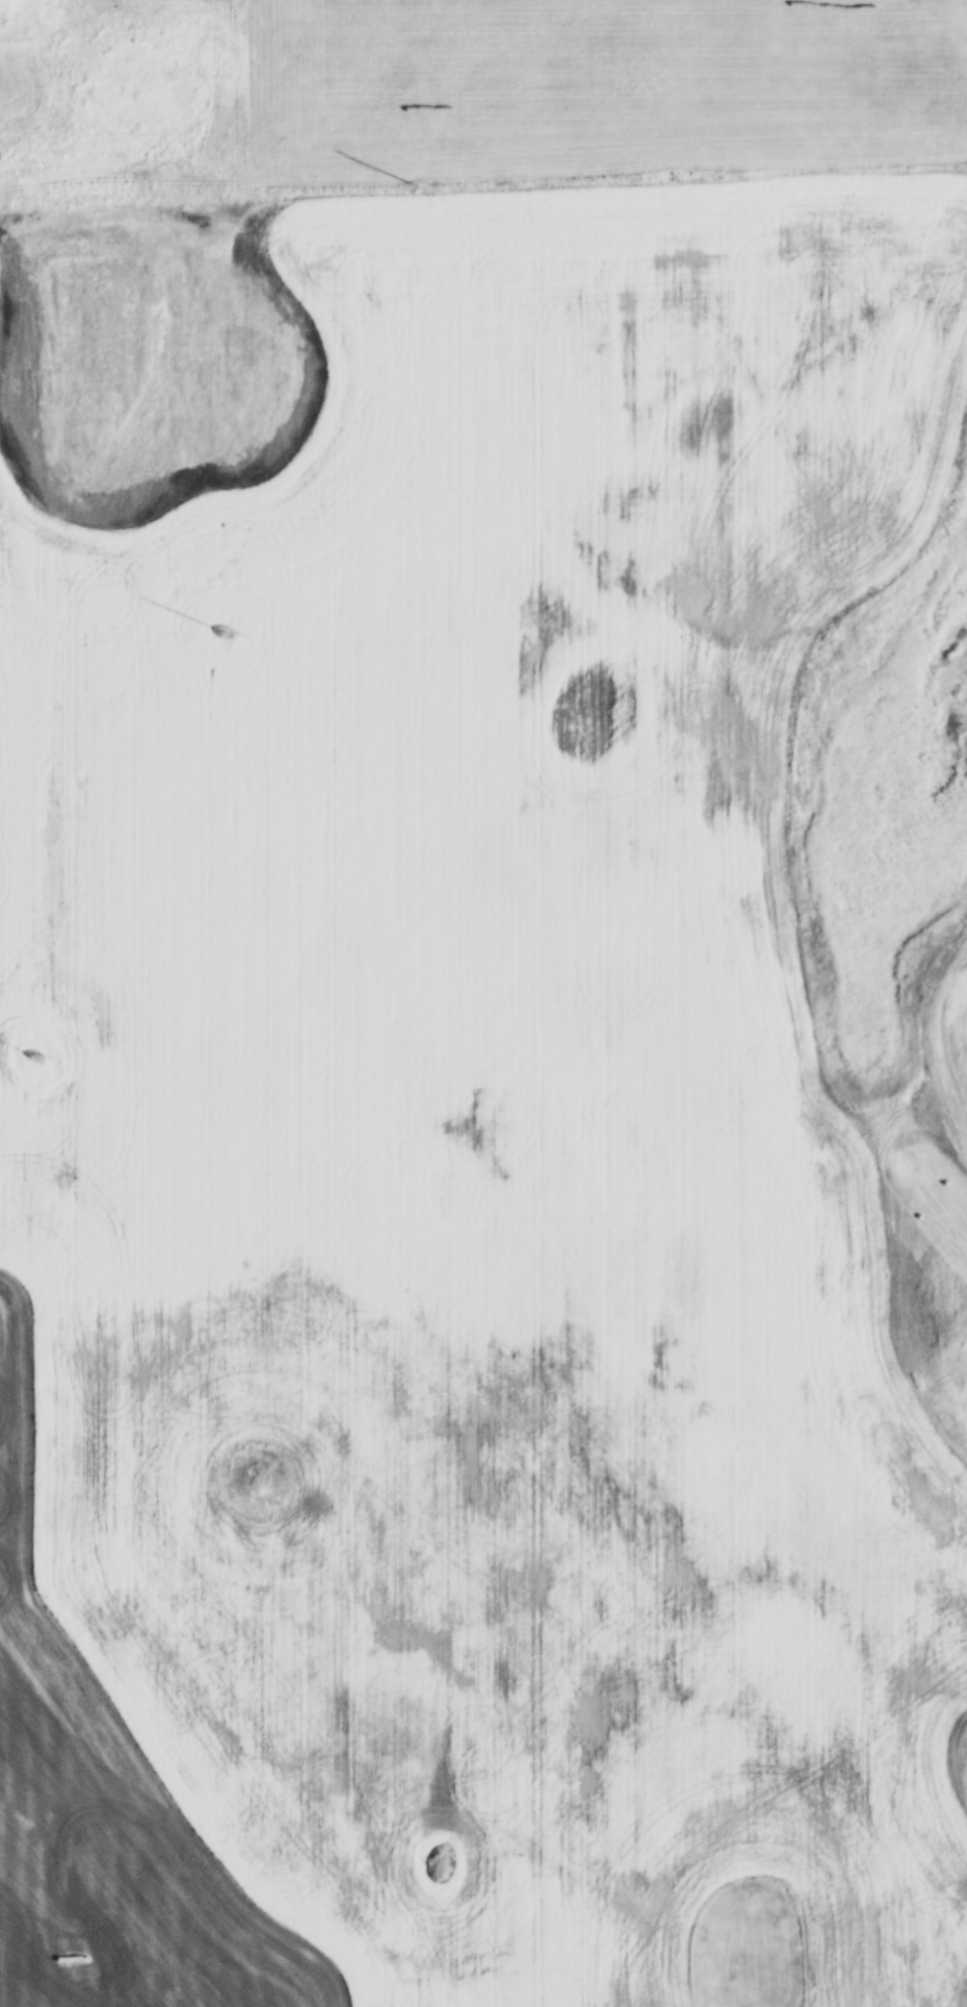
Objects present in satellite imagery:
power tower: (416, 185)
power tower: (215, 627)
power tower: (28, 1053)

